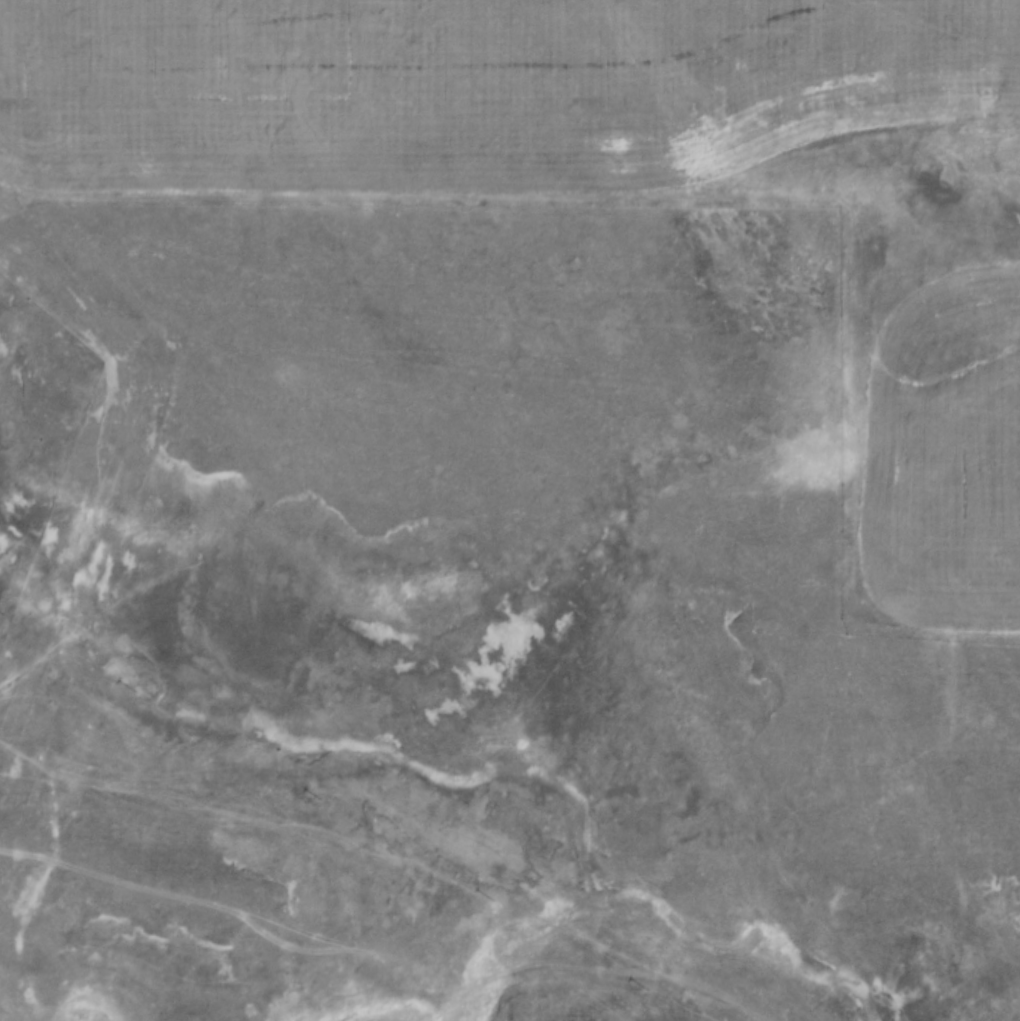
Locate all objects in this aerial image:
road: (381, 956)

